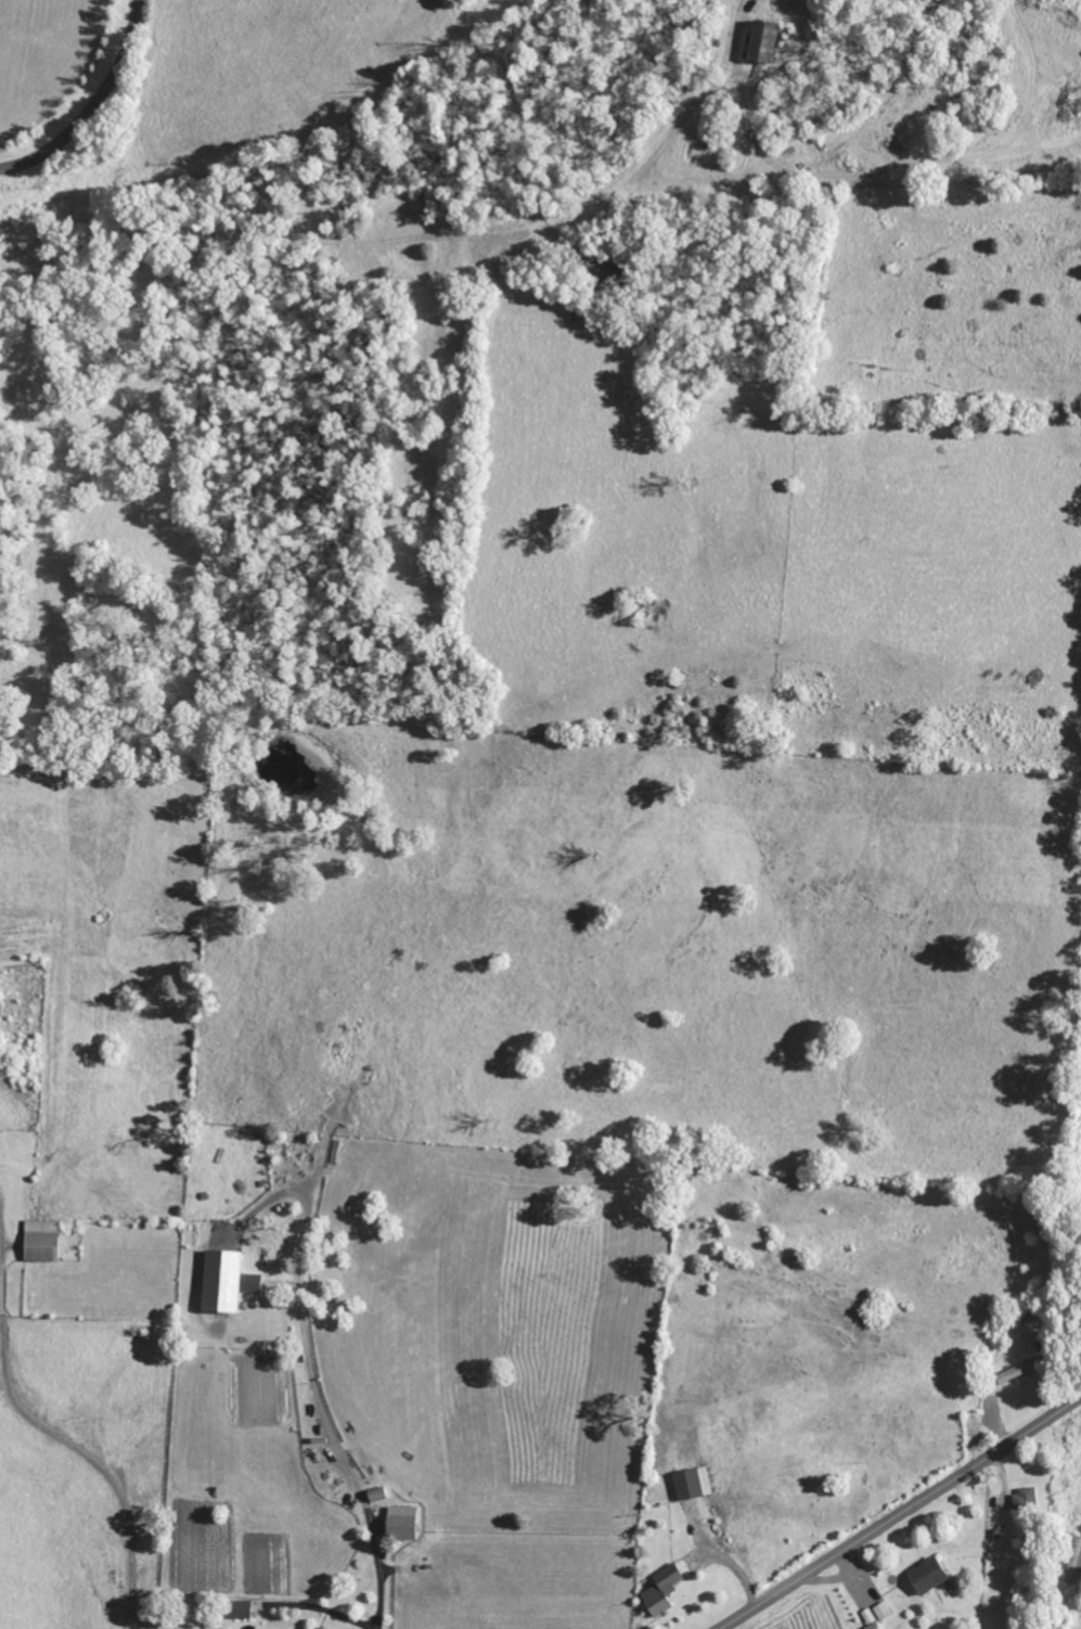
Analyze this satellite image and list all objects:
building: (761, 42)
road: (92, 102)
building: (41, 1241)
building: (227, 1281)
road: (312, 1376)
road: (46, 1458)
building: (693, 1484)
building: (376, 1495)
building: (1024, 1500)
road: (900, 1513)
building: (400, 1524)
building: (1073, 1563)
building: (927, 1576)
building: (661, 1590)
building: (241, 1609)
building: (883, 1611)
building: (868, 1616)
building: (875, 1626)

